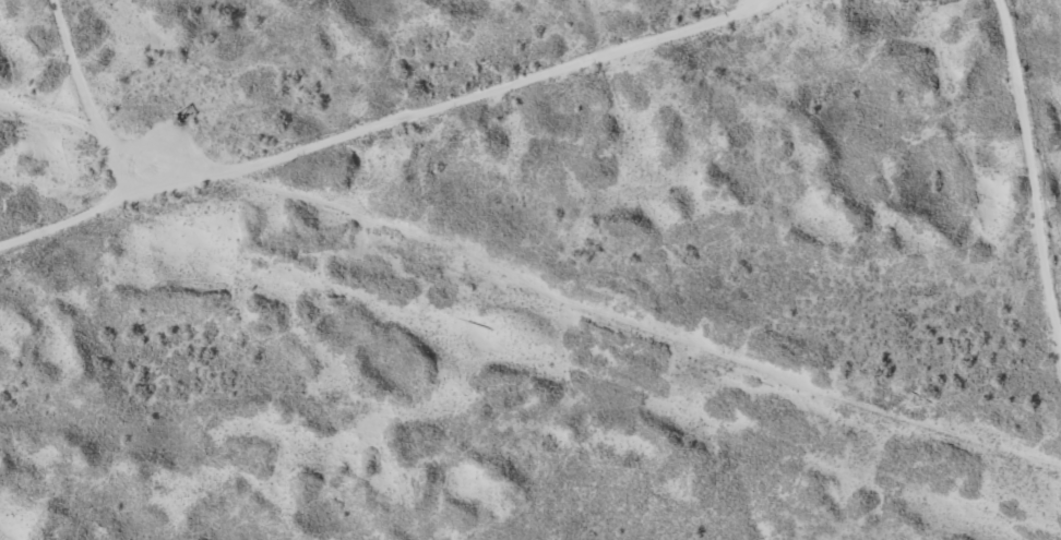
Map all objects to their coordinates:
road: (82, 107)
road: (1028, 130)
road: (457, 135)

